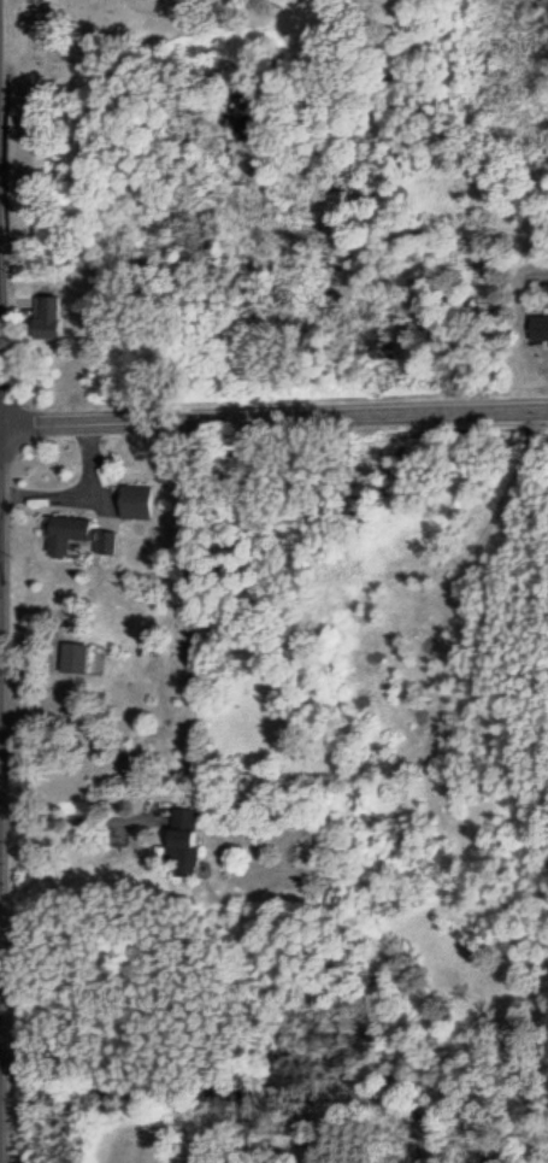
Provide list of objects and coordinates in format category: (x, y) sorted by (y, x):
park: (99, 104)
building: (41, 318)
building: (536, 328)
road: (273, 416)
building: (132, 499)
building: (60, 531)
building: (101, 541)
building: (69, 656)
building: (178, 840)

